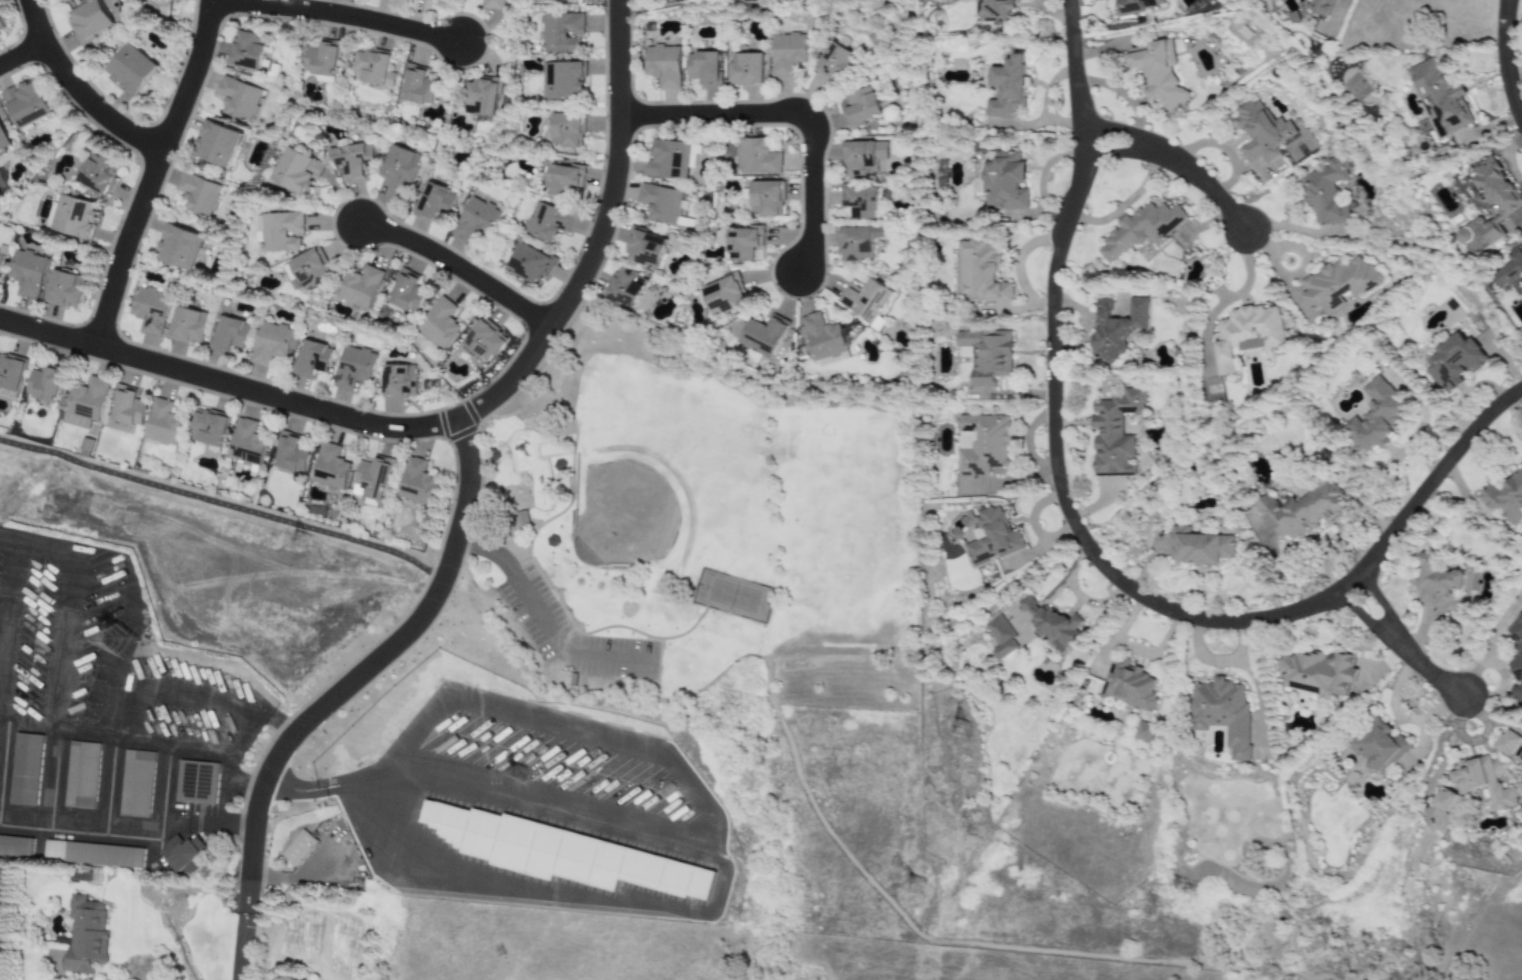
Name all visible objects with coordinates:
building: (171, 0)
building: (441, 1)
building: (494, 4)
building: (1139, 5)
building: (1321, 6)
building: (996, 11)
road: (336, 12)
building: (89, 20)
building: (2, 24)
building: (562, 32)
building: (247, 50)
road: (20, 53)
building: (786, 53)
building: (834, 60)
building: (324, 61)
road: (1503, 62)
building: (663, 65)
building: (373, 68)
building: (131, 69)
building: (704, 69)
building: (746, 69)
building: (1158, 73)
building: (564, 81)
building: (418, 86)
building: (1008, 88)
road: (73, 91)
building: (483, 96)
building: (238, 98)
building: (1441, 98)
building: (26, 104)
building: (861, 107)
road: (790, 115)
building: (568, 130)
building: (1261, 131)
building: (3, 140)
building: (217, 144)
building: (694, 156)
building: (862, 157)
building: (757, 158)
building: (669, 159)
building: (352, 161)
road: (1178, 163)
building: (400, 165)
road: (151, 169)
building: (296, 171)
building: (99, 174)
building: (562, 179)
building: (1004, 181)
building: (1325, 191)
building: (198, 194)
building: (766, 198)
building: (860, 201)
building: (435, 202)
building: (662, 205)
building: (1490, 205)
building: (76, 217)
building: (476, 220)
building: (547, 222)
building: (1141, 229)
building: (744, 241)
building: (857, 243)
building: (180, 247)
building: (645, 248)
building: (1, 261)
building: (531, 263)
road: (457, 267)
building: (311, 268)
building: (1510, 269)
building: (28, 273)
building: (981, 273)
building: (1338, 284)
building: (361, 287)
building: (627, 287)
building: (65, 289)
building: (407, 294)
building: (723, 296)
road: (1233, 298)
building: (866, 299)
building: (151, 309)
building: (440, 324)
building: (189, 326)
building: (1117, 328)
building: (1245, 334)
building: (229, 335)
building: (763, 336)
building: (486, 340)
building: (824, 341)
building: (271, 343)
building: (987, 355)
building: (313, 358)
building: (1455, 362)
building: (354, 367)
road: (534, 370)
building: (11, 375)
road: (559, 379)
building: (400, 380)
building: (45, 385)
building: (128, 408)
building: (1375, 418)
road: (459, 420)
building: (164, 426)
building: (209, 429)
building: (1115, 433)
building: (247, 443)
building: (982, 444)
road: (554, 454)
building: (293, 455)
building: (493, 455)
road: (493, 462)
road: (480, 463)
building: (559, 466)
building: (331, 467)
building: (373, 478)
building: (417, 483)
building: (1505, 498)
park: (706, 500)
road: (222, 505)
building: (1301, 511)
park: (622, 516)
building: (522, 519)
road: (533, 521)
building: (992, 537)
building: (551, 541)
power tower: (304, 545)
building: (1198, 547)
road: (1085, 548)
road: (517, 565)
road: (538, 574)
building: (1438, 584)
park: (732, 596)
road: (541, 620)
building: (1050, 621)
road: (6, 627)
building: (1001, 639)
power tower: (121, 643)
road: (1401, 645)
road: (65, 649)
building: (1516, 658)
road: (365, 670)
building: (1317, 673)
power tower: (101, 677)
building: (1128, 685)
road: (124, 694)
building: (1222, 713)
power tower: (90, 714)
power tower: (963, 731)
building: (1142, 732)
building: (1506, 743)
building: (1379, 746)
road: (111, 752)
road: (217, 754)
building: (26, 769)
building: (81, 775)
power tower: (519, 776)
road: (231, 780)
building: (1483, 781)
building: (197, 782)
building: (136, 784)
building: (1443, 801)
road: (24, 817)
road: (149, 829)
building: (16, 846)
building: (299, 848)
building: (562, 853)
building: (94, 854)
building: (183, 854)
power tower: (921, 891)
road: (637, 899)
building: (86, 935)
road: (242, 946)

